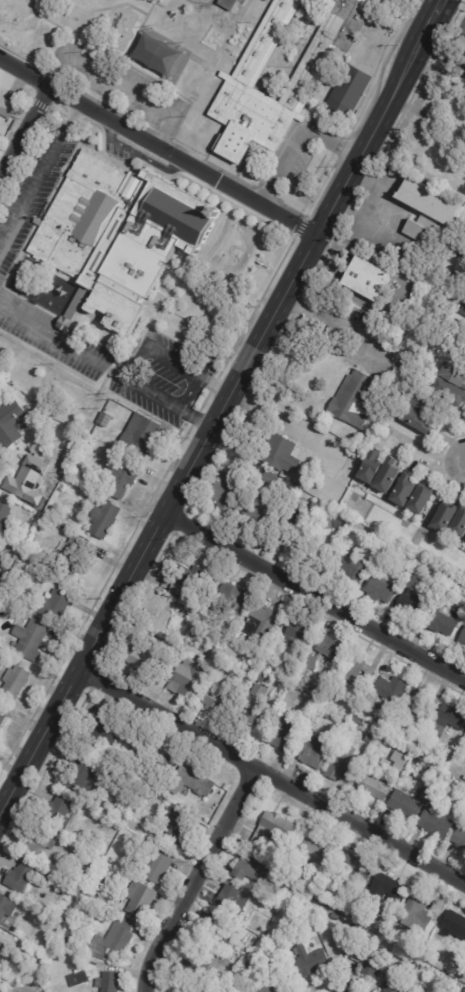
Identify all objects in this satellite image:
building: (268, 0)
building: (230, 4)
road: (438, 11)
road: (27, 23)
park: (35, 29)
building: (217, 29)
building: (264, 40)
building: (325, 47)
building: (191, 79)
road: (119, 84)
parking lot: (118, 86)
building: (349, 90)
building: (8, 106)
building: (245, 123)
building: (446, 123)
road: (25, 129)
road: (298, 138)
road: (158, 147)
parking lot: (295, 157)
road: (39, 166)
building: (427, 210)
road: (381, 212)
building: (170, 246)
building: (459, 269)
building: (365, 281)
building: (461, 308)
road: (333, 321)
road: (62, 340)
building: (431, 343)
building: (460, 345)
building: (441, 347)
road: (172, 361)
building: (453, 376)
building: (446, 392)
building: (352, 399)
building: (417, 400)
road: (167, 402)
road: (279, 414)
building: (411, 417)
road: (215, 421)
building: (12, 425)
building: (142, 434)
building: (276, 452)
building: (368, 466)
building: (292, 470)
building: (386, 474)
building: (124, 477)
building: (268, 479)
building: (26, 481)
building: (402, 488)
building: (222, 494)
building: (418, 500)
building: (313, 506)
building: (291, 509)
building: (256, 512)
building: (36, 517)
building: (442, 517)
building: (106, 520)
building: (6, 521)
building: (459, 522)
building: (291, 529)
building: (323, 537)
building: (21, 543)
building: (393, 545)
building: (0, 550)
building: (396, 554)
building: (76, 555)
building: (352, 562)
building: (186, 581)
building: (2, 582)
building: (377, 588)
road: (313, 599)
building: (410, 600)
building: (5, 602)
building: (58, 604)
building: (226, 605)
building: (164, 614)
building: (441, 620)
building: (260, 624)
building: (296, 632)
building: (462, 637)
building: (33, 639)
building: (173, 641)
building: (16, 644)
building: (327, 648)
building: (274, 653)
building: (145, 654)
building: (309, 663)
building: (354, 671)
building: (186, 681)
building: (17, 682)
building: (382, 694)
building: (218, 700)
building: (253, 704)
building: (413, 705)
building: (324, 714)
building: (3, 717)
building: (444, 722)
building: (280, 732)
building: (102, 735)
building: (368, 739)
building: (464, 745)
building: (310, 754)
building: (420, 754)
building: (151, 756)
building: (339, 768)
building: (427, 769)
road: (272, 777)
building: (78, 778)
building: (189, 783)
building: (372, 788)
building: (163, 796)
building: (401, 804)
building: (162, 806)
building: (57, 813)
building: (433, 822)
building: (174, 830)
building: (268, 833)
building: (311, 833)
building: (458, 839)
building: (36, 842)
building: (313, 855)
building: (351, 868)
building: (155, 870)
building: (247, 871)
building: (22, 877)
road: (198, 879)
building: (99, 883)
building: (388, 888)
building: (278, 891)
building: (137, 900)
building: (231, 901)
building: (5, 908)
building: (414, 914)
building: (332, 917)
building: (453, 926)
building: (213, 933)
building: (258, 933)
building: (67, 938)
building: (112, 941)
building: (1, 945)
building: (259, 948)
building: (307, 962)
building: (367, 962)
building: (192, 966)
building: (233, 969)
building: (93, 979)
building: (267, 987)
building: (389, 987)
building: (9, 991)
building: (189, 991)

